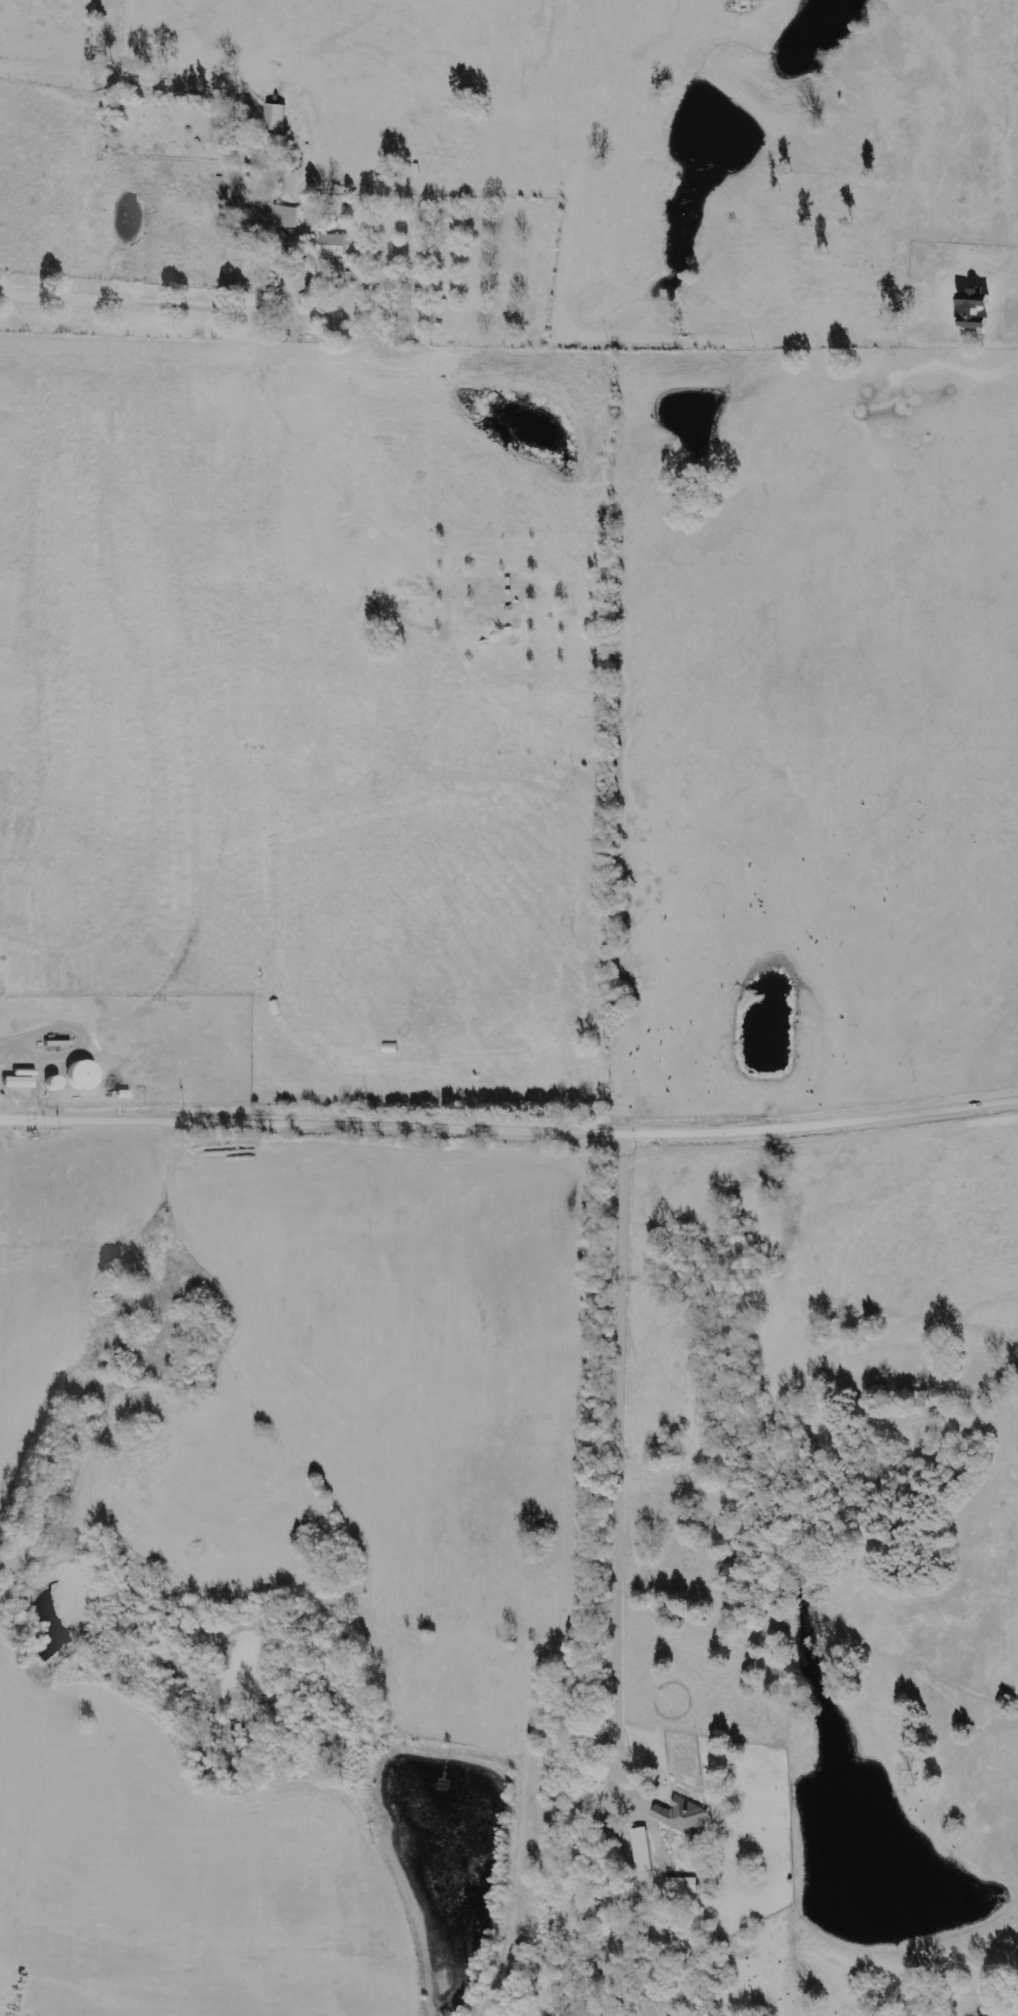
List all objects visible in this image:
building: (276, 116)
building: (334, 244)
road: (152, 285)
building: (974, 309)
building: (81, 1074)
building: (17, 1082)
road: (509, 1107)
road: (615, 1439)
building: (683, 1815)
building: (643, 1849)

